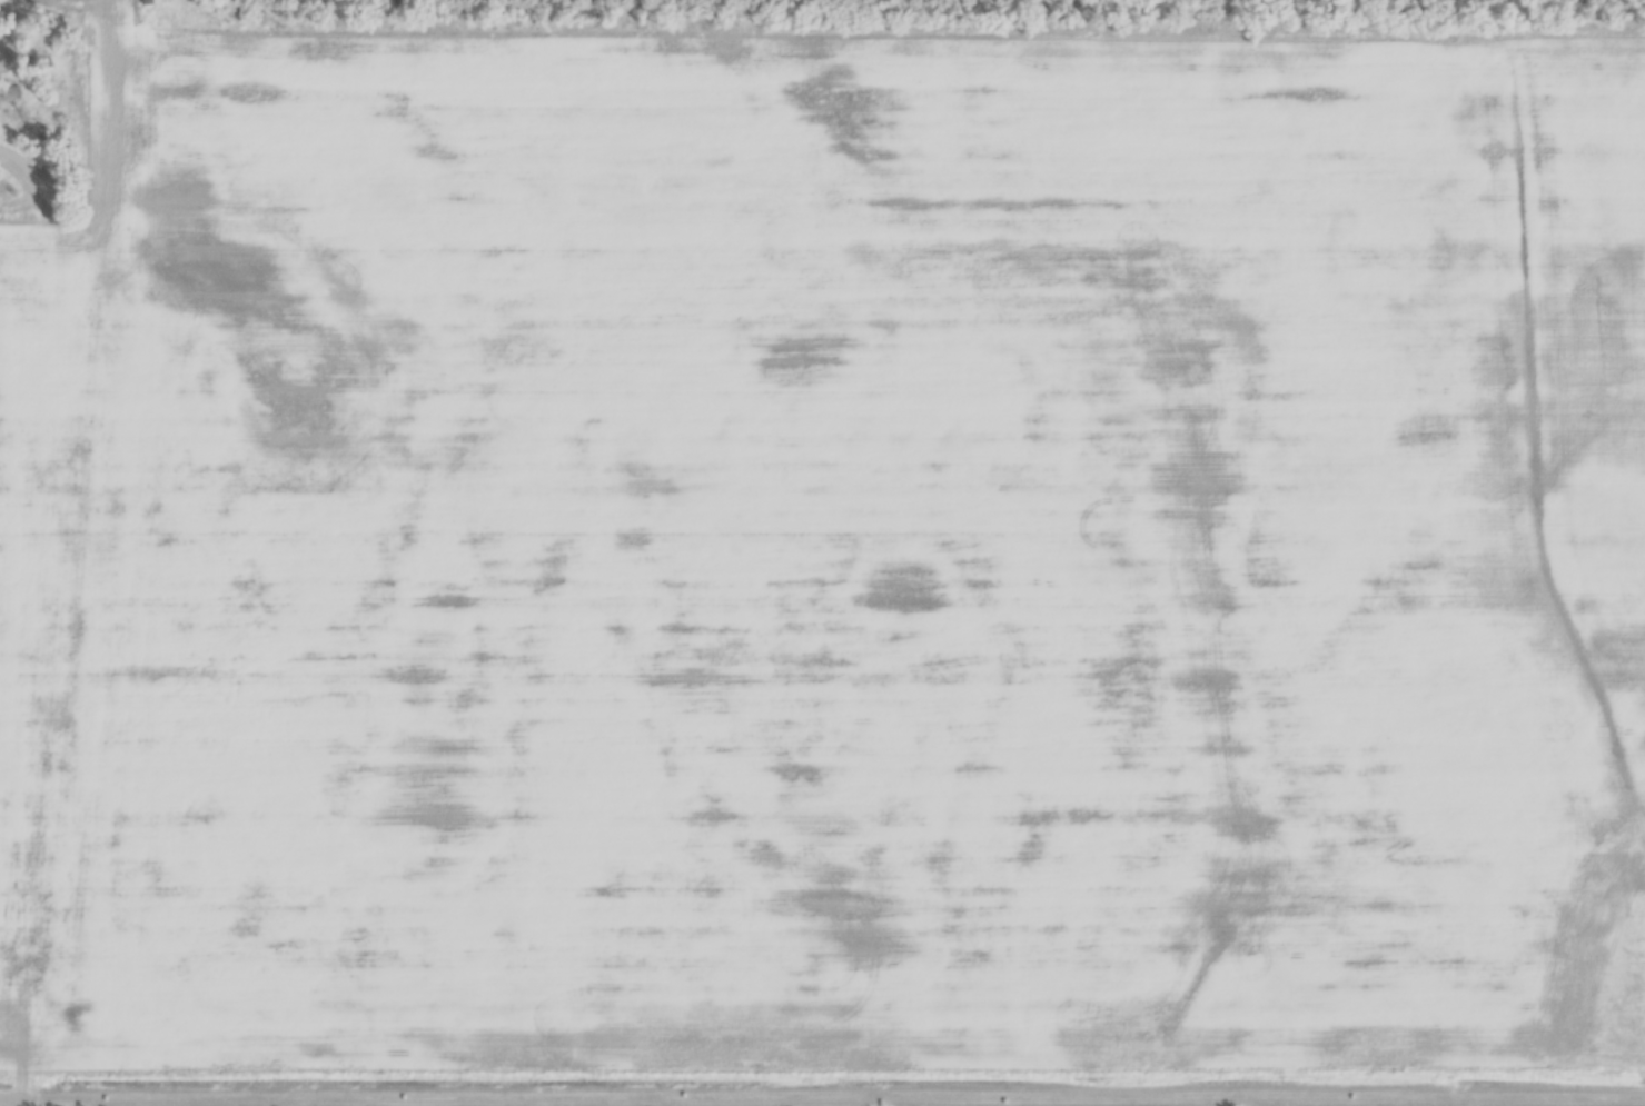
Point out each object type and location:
building: (10, 94)
road: (822, 1098)
road: (18, 1105)

